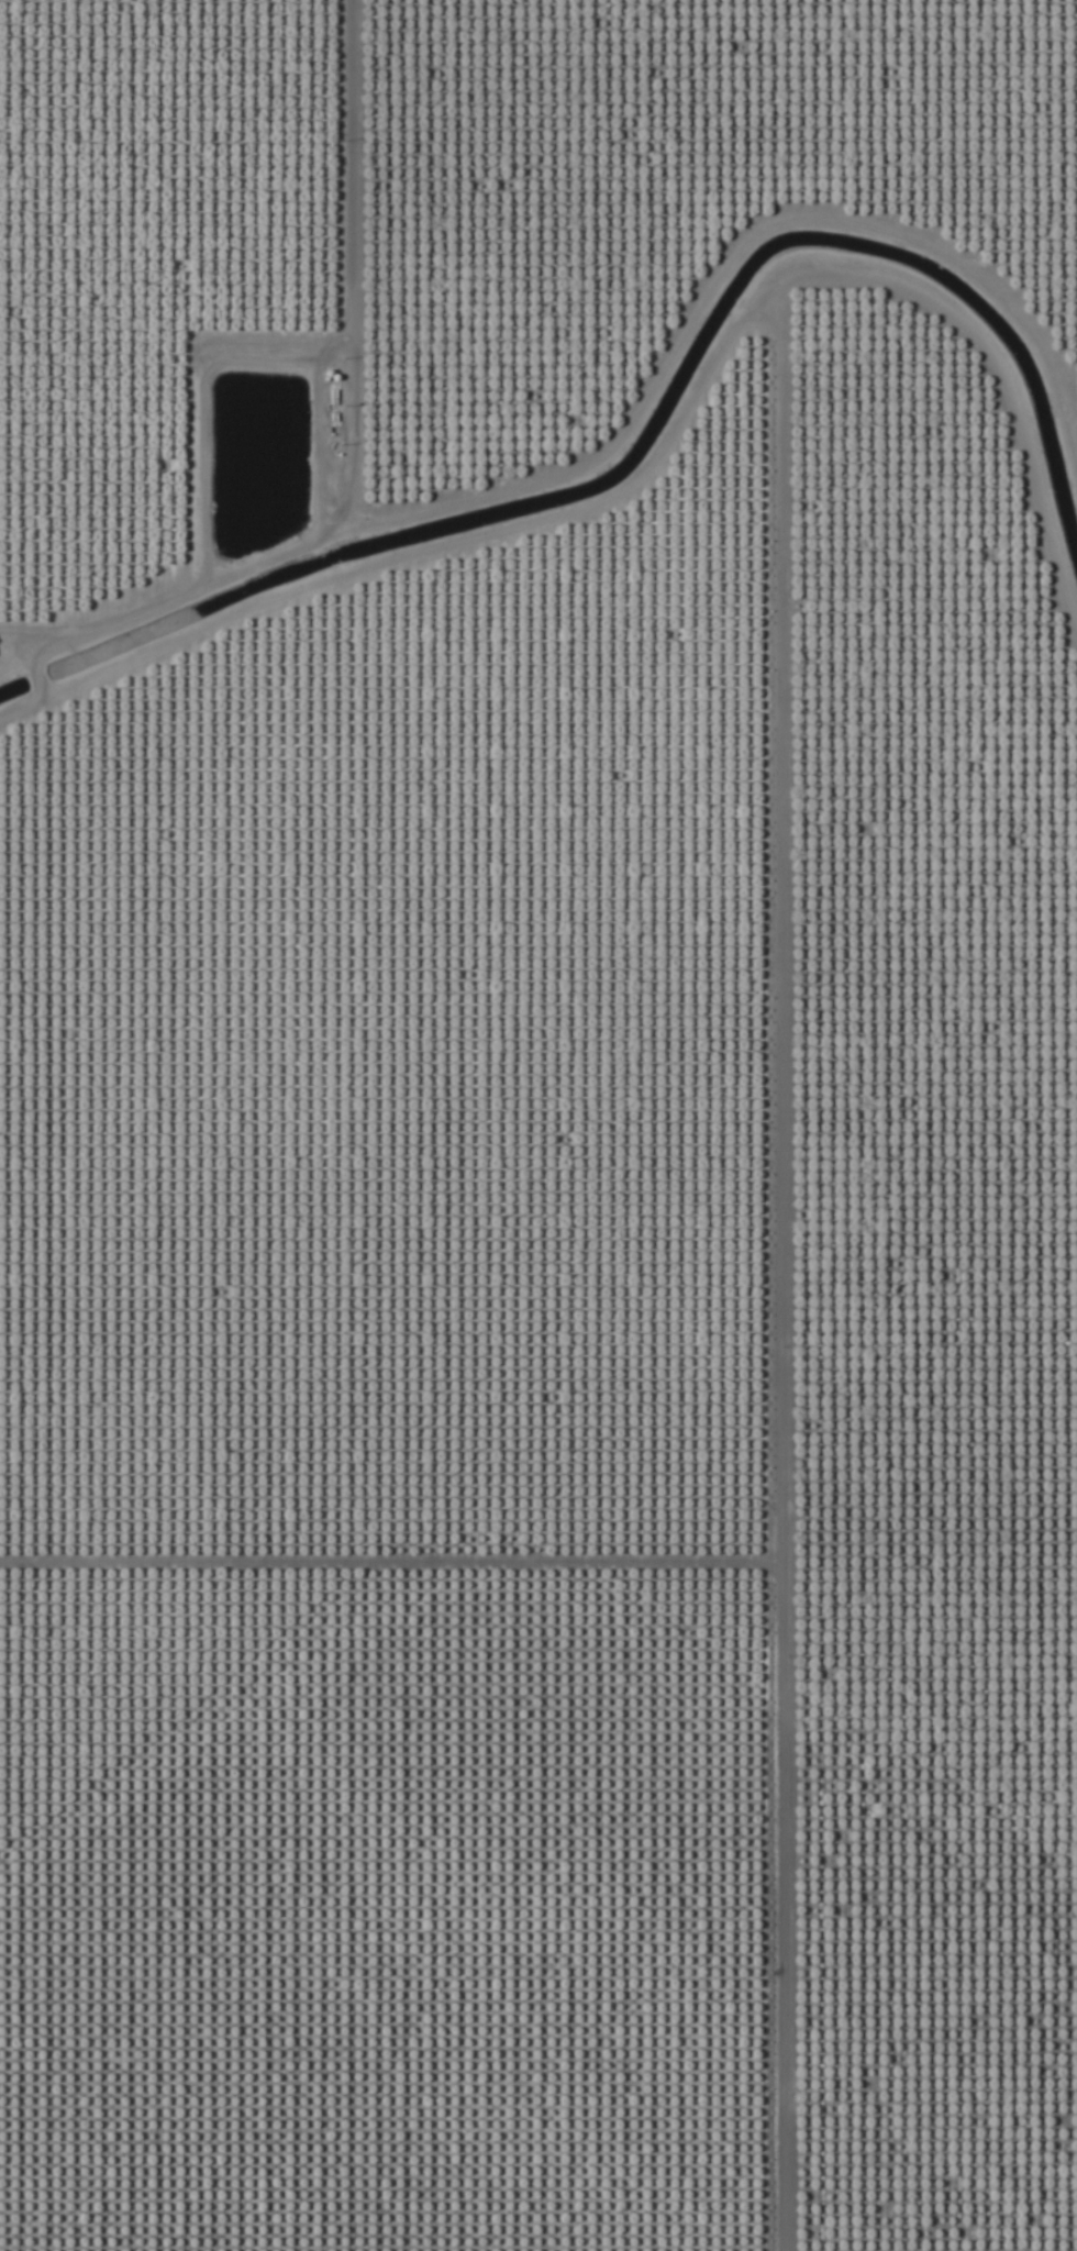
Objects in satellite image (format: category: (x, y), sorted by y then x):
building: (73, 0)
building: (51, 224)
building: (64, 313)
building: (11, 321)
crop: (538, 1125)
building: (282, 2049)
building: (889, 2142)

